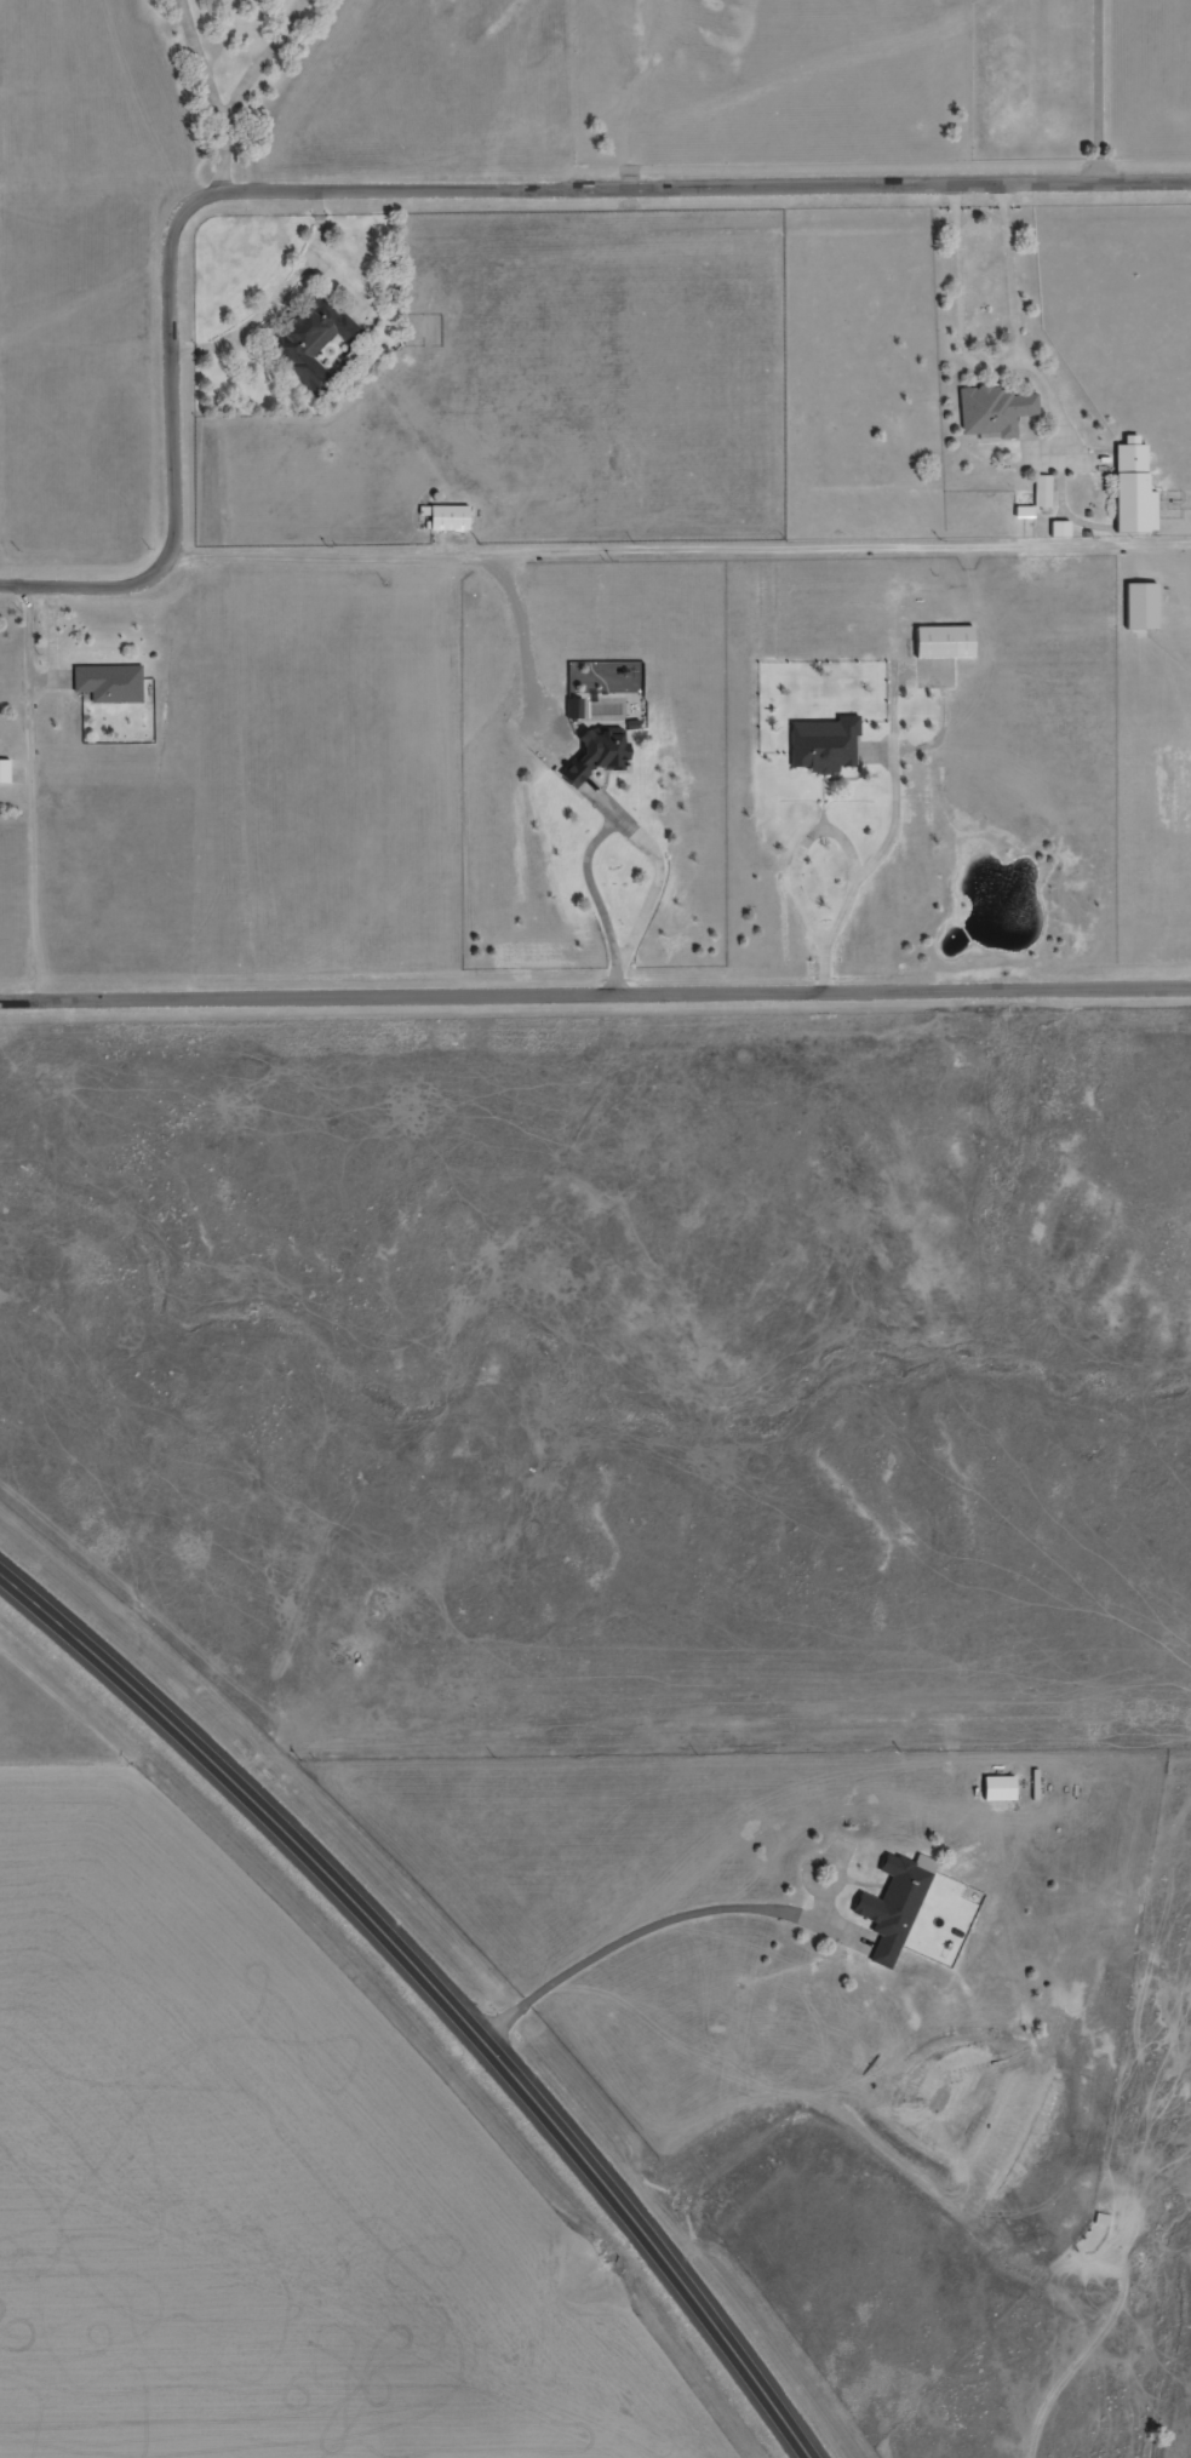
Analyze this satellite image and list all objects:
road: (200, 68)
road: (240, 91)
road: (1100, 93)
road: (716, 189)
road: (338, 283)
road: (279, 298)
road: (960, 310)
building: (308, 338)
road: (1037, 366)
building: (992, 411)
road: (181, 452)
building: (1132, 489)
building: (1042, 491)
building: (443, 518)
building: (1060, 529)
road: (682, 557)
building: (1139, 606)
building: (941, 642)
building: (108, 682)
building: (573, 707)
building: (825, 747)
building: (595, 752)
building: (4, 772)
road: (894, 779)
road: (586, 781)
road: (30, 797)
road: (846, 844)
road: (591, 887)
road: (595, 1001)
building: (1006, 1792)
building: (900, 1910)
road: (668, 1927)
road: (435, 1987)

